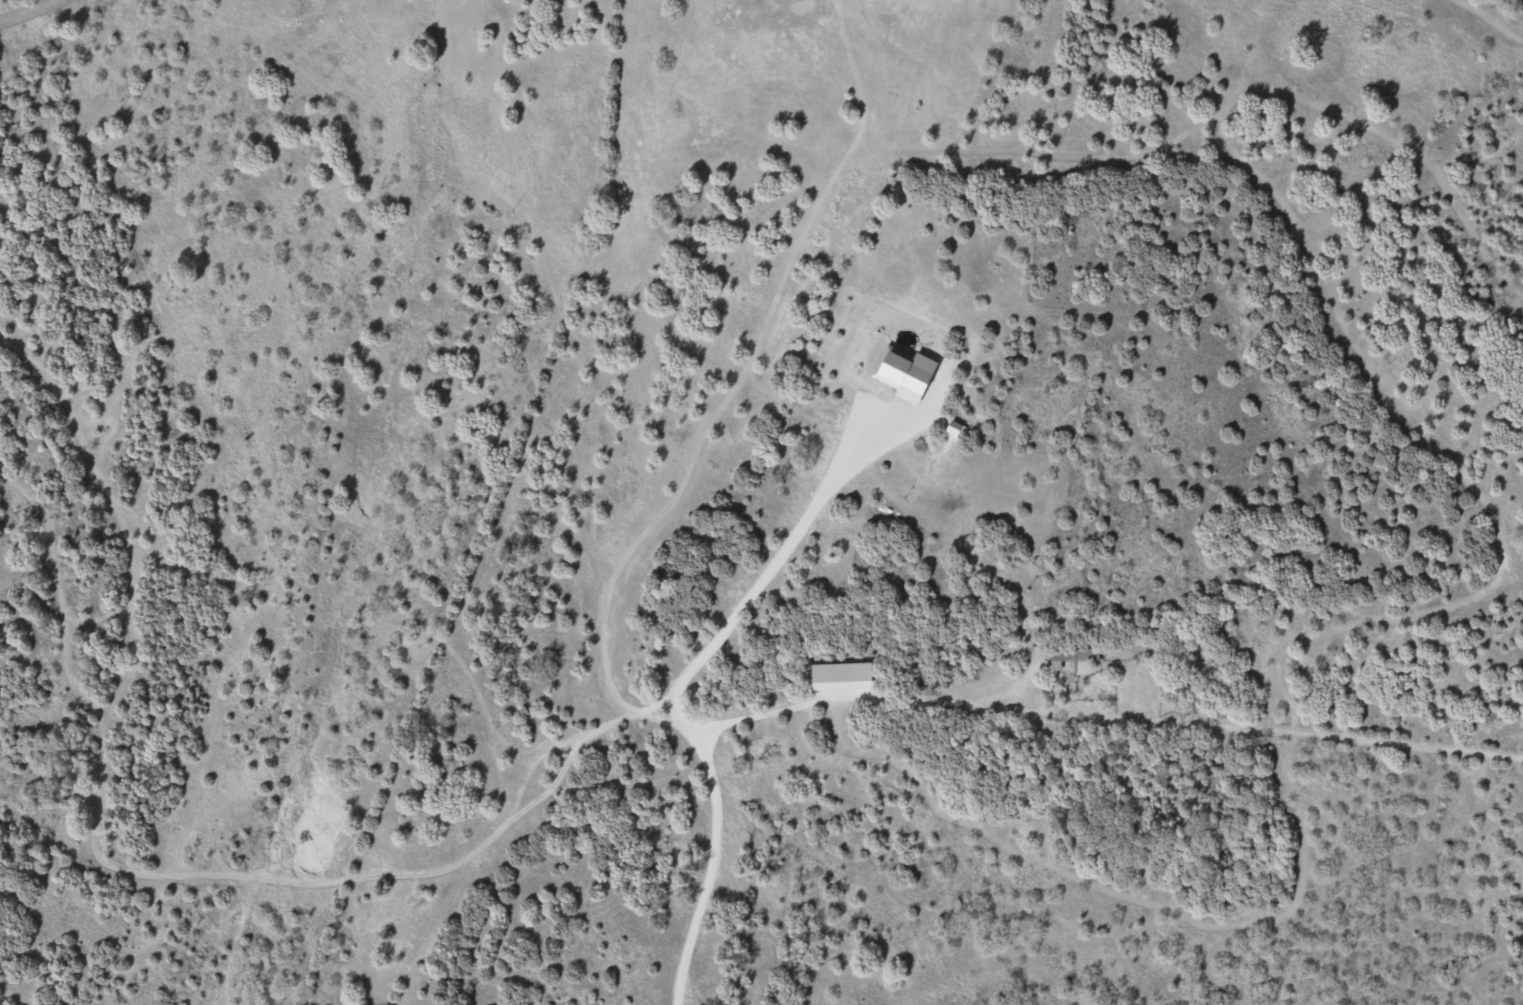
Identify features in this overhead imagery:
building: (1063, 655)

